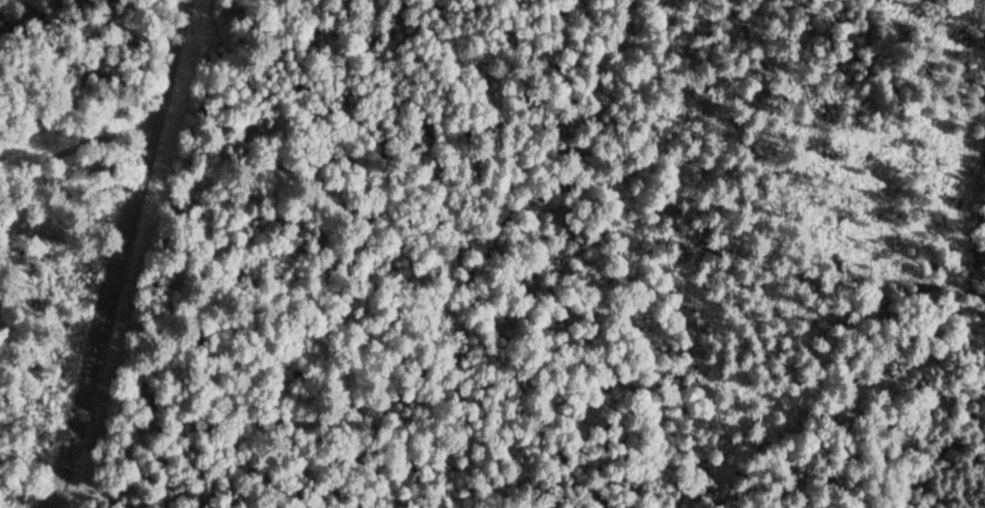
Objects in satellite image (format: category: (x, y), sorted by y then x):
road: (74, 133)
road: (115, 254)

